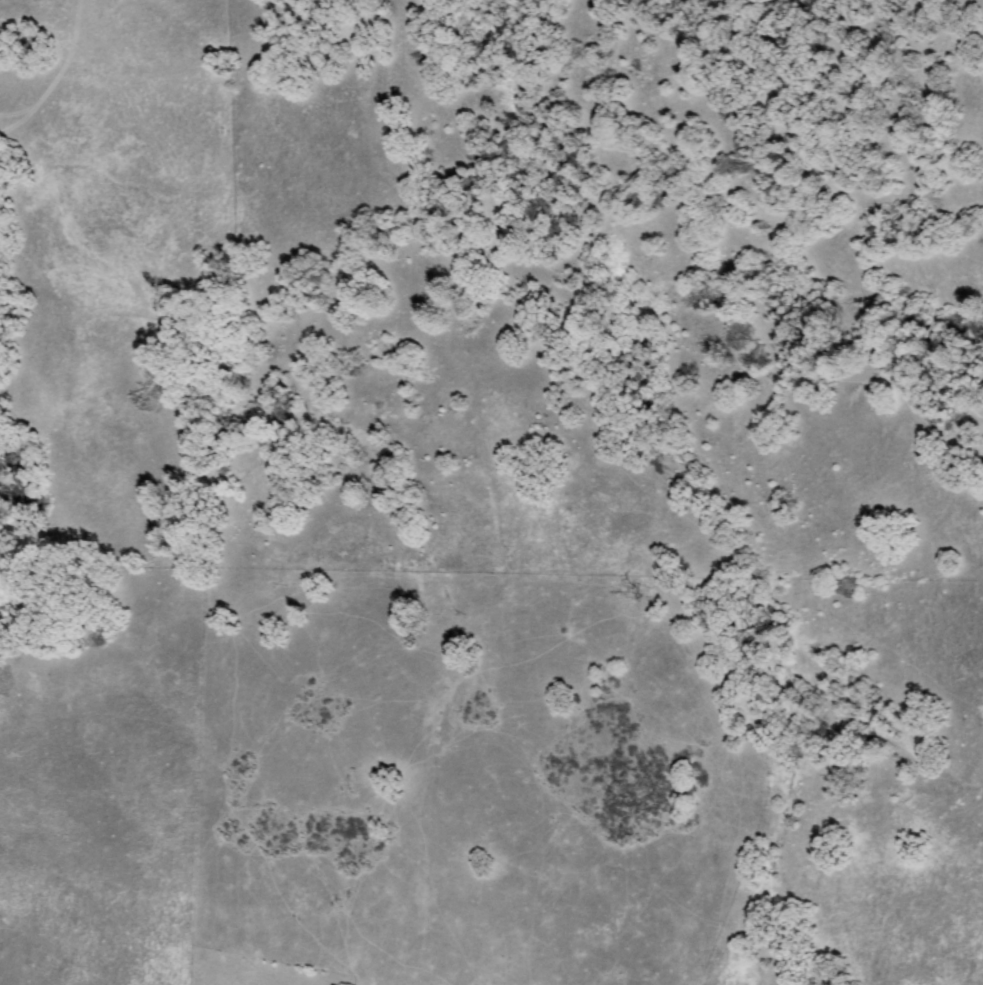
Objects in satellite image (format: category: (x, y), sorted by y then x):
road: (765, 828)

